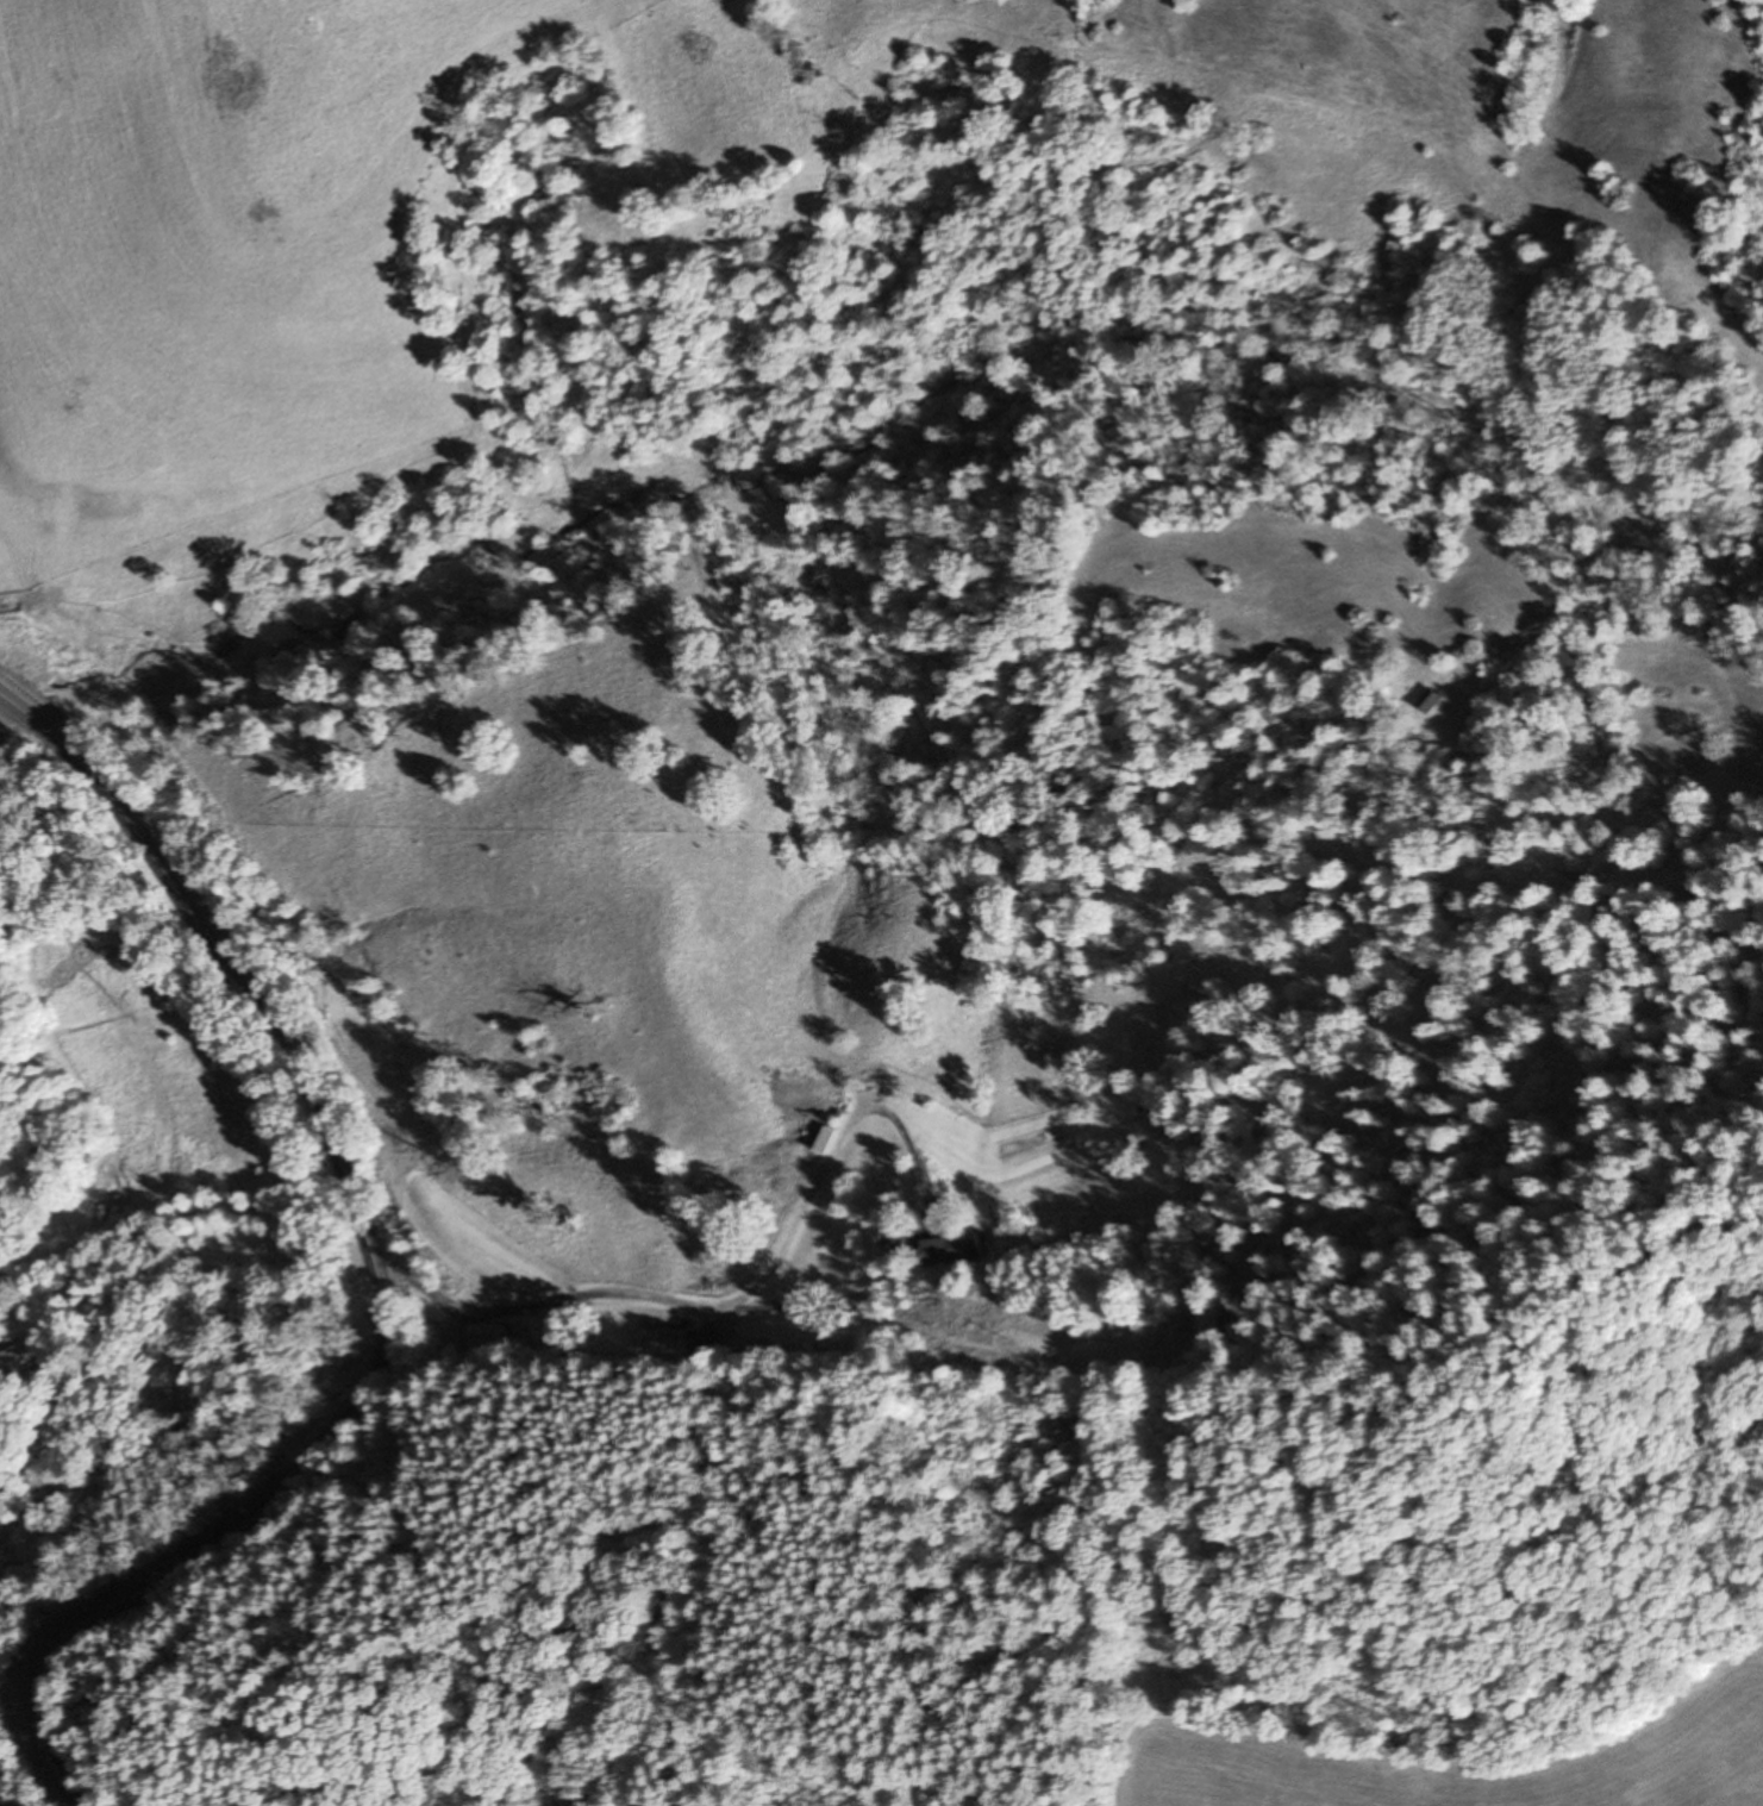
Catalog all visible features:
building: (1433, 700)
building: (951, 1249)
road: (380, 1276)
road: (888, 1291)
building: (486, 1336)
building: (668, 1341)
building: (18, 1362)

